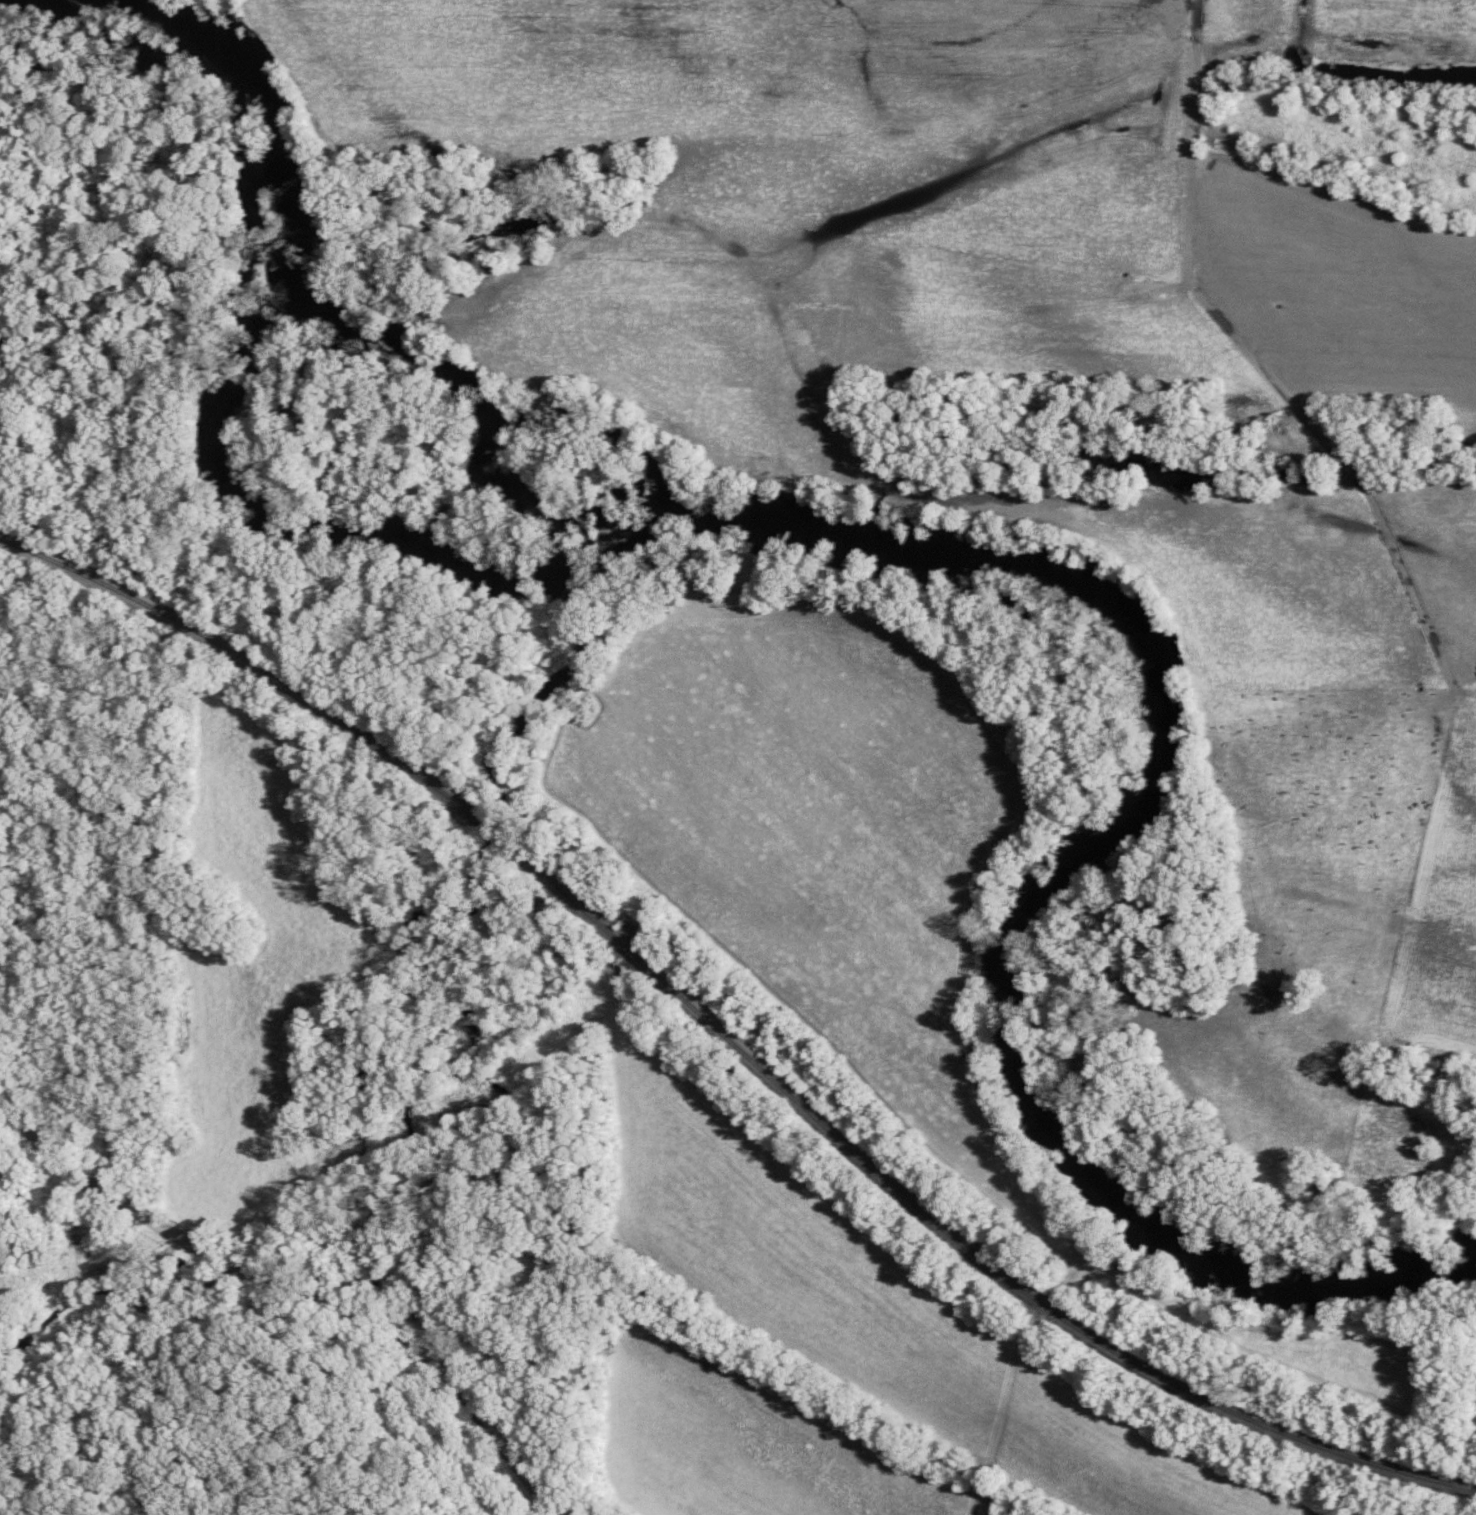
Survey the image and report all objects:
railway: (724, 1030)
road: (280, 1287)

